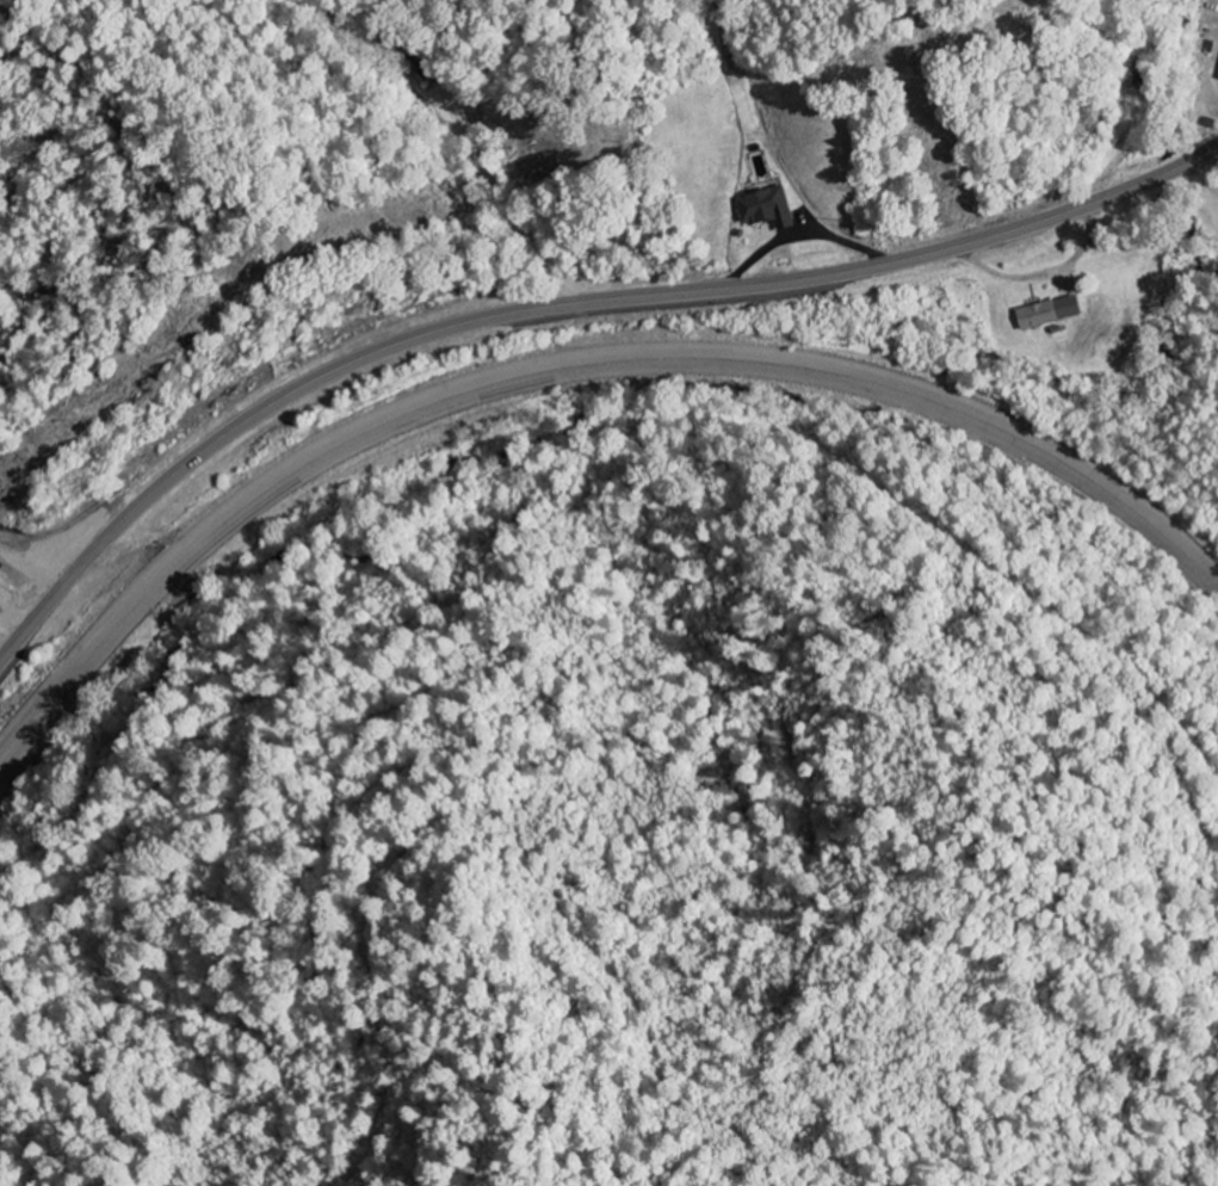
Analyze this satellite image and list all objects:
building: (769, 210)
road: (559, 305)
building: (1051, 314)
road: (569, 367)

